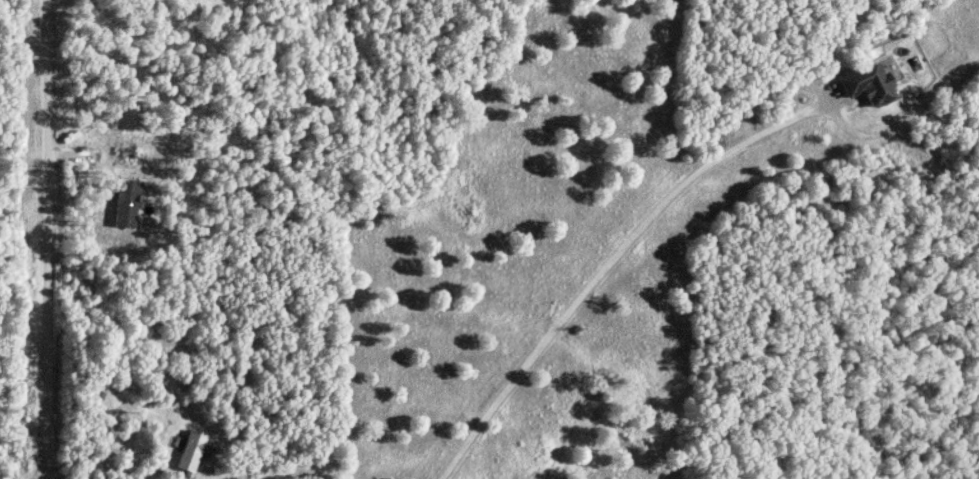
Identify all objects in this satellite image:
building: (870, 84)
road: (48, 239)
road: (606, 264)
building: (193, 452)

